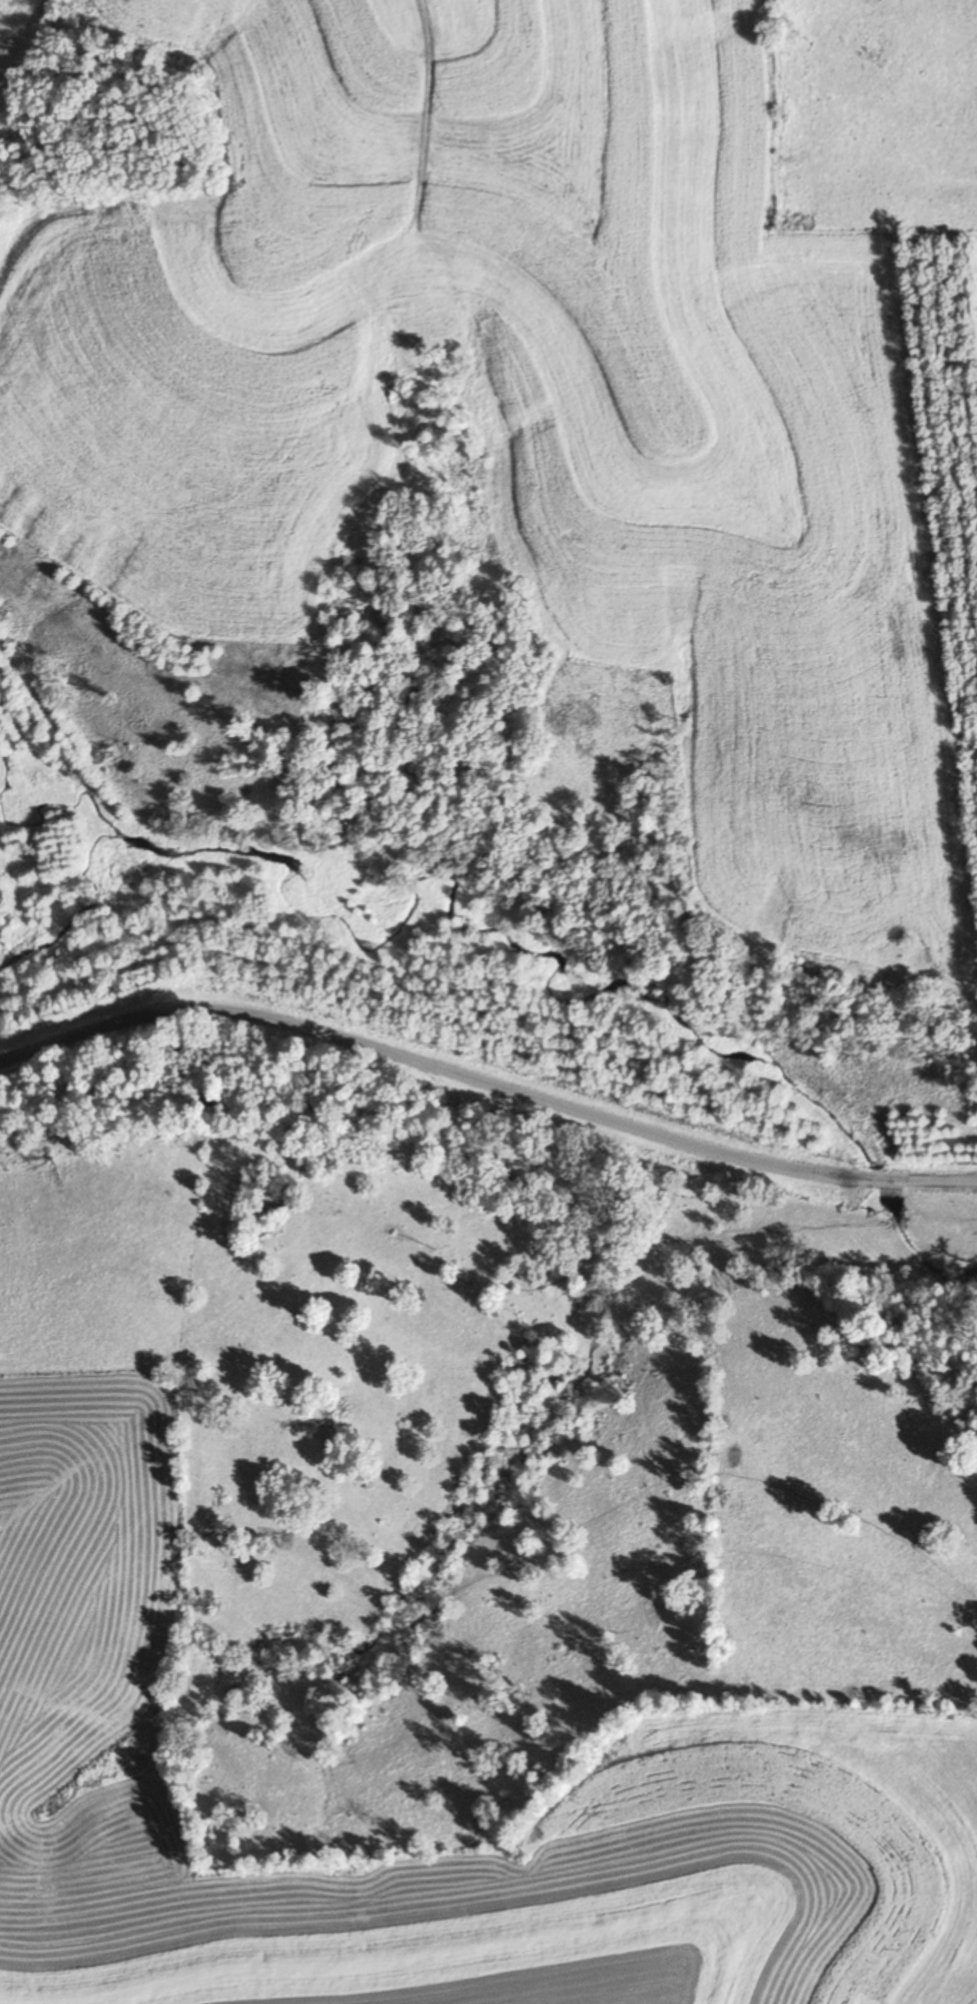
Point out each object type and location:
road: (487, 1081)

